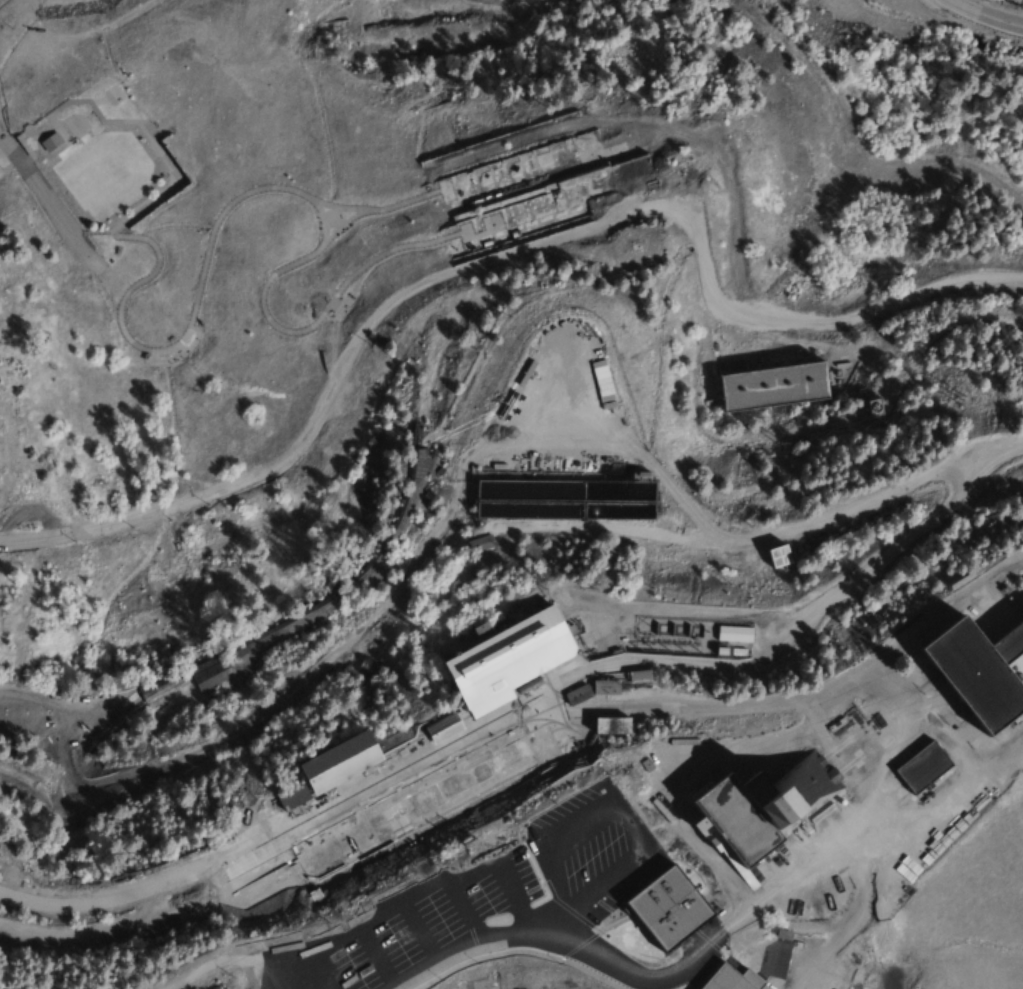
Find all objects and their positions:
road: (986, 15)
building: (50, 142)
road: (263, 188)
road: (41, 194)
road: (384, 210)
road: (346, 221)
road: (2, 282)
road: (848, 319)
road: (362, 328)
building: (772, 388)
building: (874, 408)
building: (565, 498)
road: (22, 538)
building: (479, 543)
building: (778, 557)
building: (956, 624)
road: (792, 632)
building: (733, 635)
building: (1008, 645)
road: (257, 655)
building: (506, 662)
building: (210, 673)
building: (973, 679)
road: (793, 689)
building: (611, 726)
road: (828, 738)
building: (899, 741)
road: (675, 760)
building: (338, 764)
building: (921, 768)
building: (745, 787)
road: (872, 787)
building: (291, 799)
building: (392, 817)
road: (263, 832)
building: (646, 883)
road: (123, 922)
road: (561, 934)
road: (242, 963)
building: (696, 966)
building: (727, 978)

